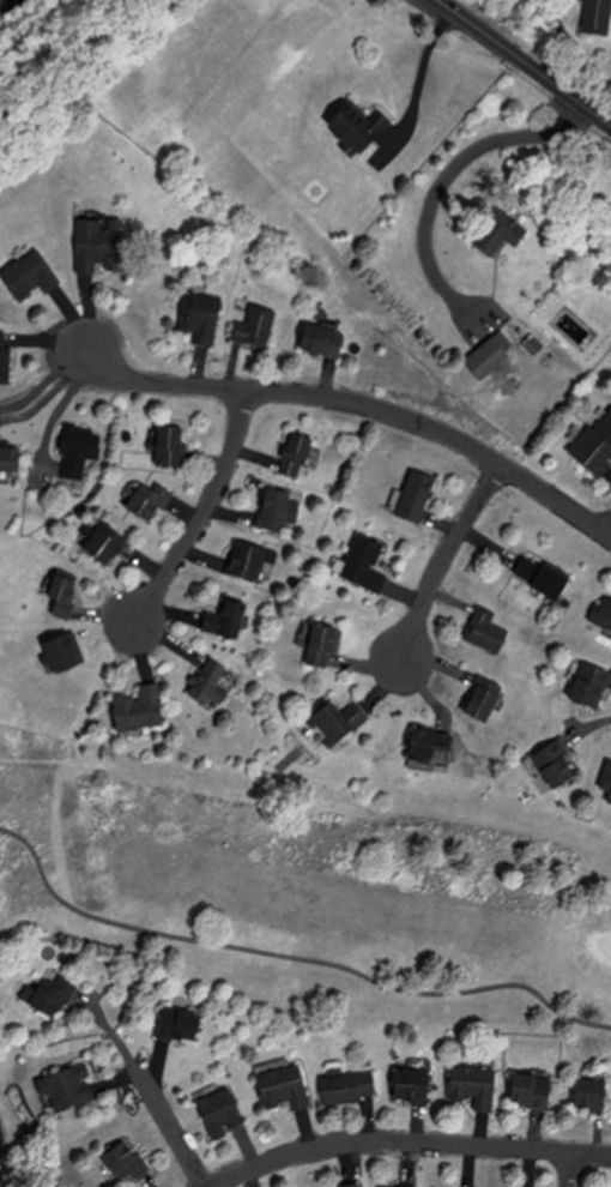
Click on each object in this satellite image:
building: (599, 17)
road: (527, 60)
road: (425, 71)
building: (358, 127)
road: (453, 165)
building: (502, 234)
building: (99, 246)
building: (32, 276)
building: (204, 315)
building: (258, 329)
building: (323, 342)
building: (534, 347)
building: (489, 358)
building: (5, 361)
road: (48, 384)
road: (361, 404)
building: (171, 447)
building: (595, 448)
building: (79, 450)
building: (297, 456)
building: (11, 459)
building: (417, 498)
building: (151, 501)
road: (205, 511)
building: (276, 511)
road: (610, 536)
building: (107, 546)
building: (252, 560)
road: (443, 560)
building: (365, 565)
building: (544, 579)
building: (63, 595)
building: (603, 614)
building: (228, 621)
building: (486, 632)
building: (322, 645)
building: (210, 685)
building: (591, 686)
building: (483, 705)
building: (140, 710)
building: (340, 722)
building: (431, 745)
building: (555, 766)
building: (606, 778)
building: (610, 801)
park: (310, 902)
building: (50, 994)
building: (182, 1019)
road: (116, 1036)
building: (413, 1084)
building: (476, 1084)
building: (68, 1086)
building: (284, 1087)
building: (347, 1087)
building: (532, 1091)
building: (593, 1093)
building: (222, 1111)
road: (176, 1129)
park: (17, 1141)
road: (412, 1141)
building: (127, 1162)
road: (573, 1169)
building: (352, 1185)

